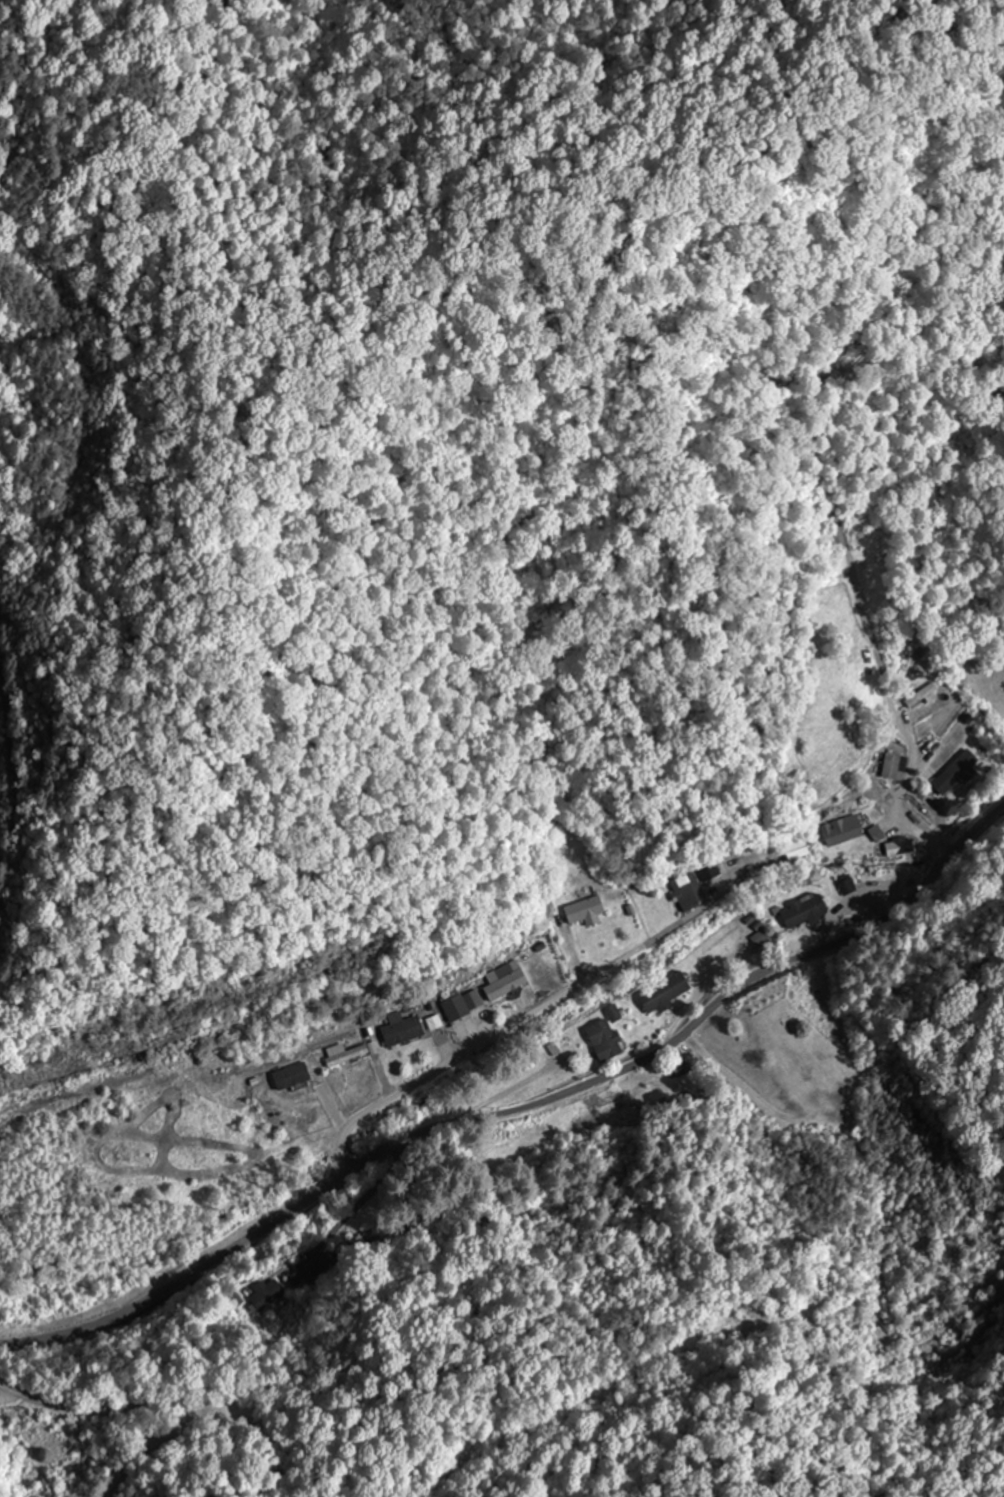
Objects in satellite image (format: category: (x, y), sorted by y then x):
building: (890, 767)
building: (955, 771)
building: (840, 829)
building: (796, 853)
building: (704, 871)
building: (685, 891)
building: (582, 909)
building: (803, 910)
building: (505, 979)
building: (662, 993)
building: (453, 1006)
building: (399, 1028)
road: (510, 1029)
building: (602, 1039)
building: (342, 1053)
road: (516, 1111)
building: (269, 1291)
road: (146, 1401)

